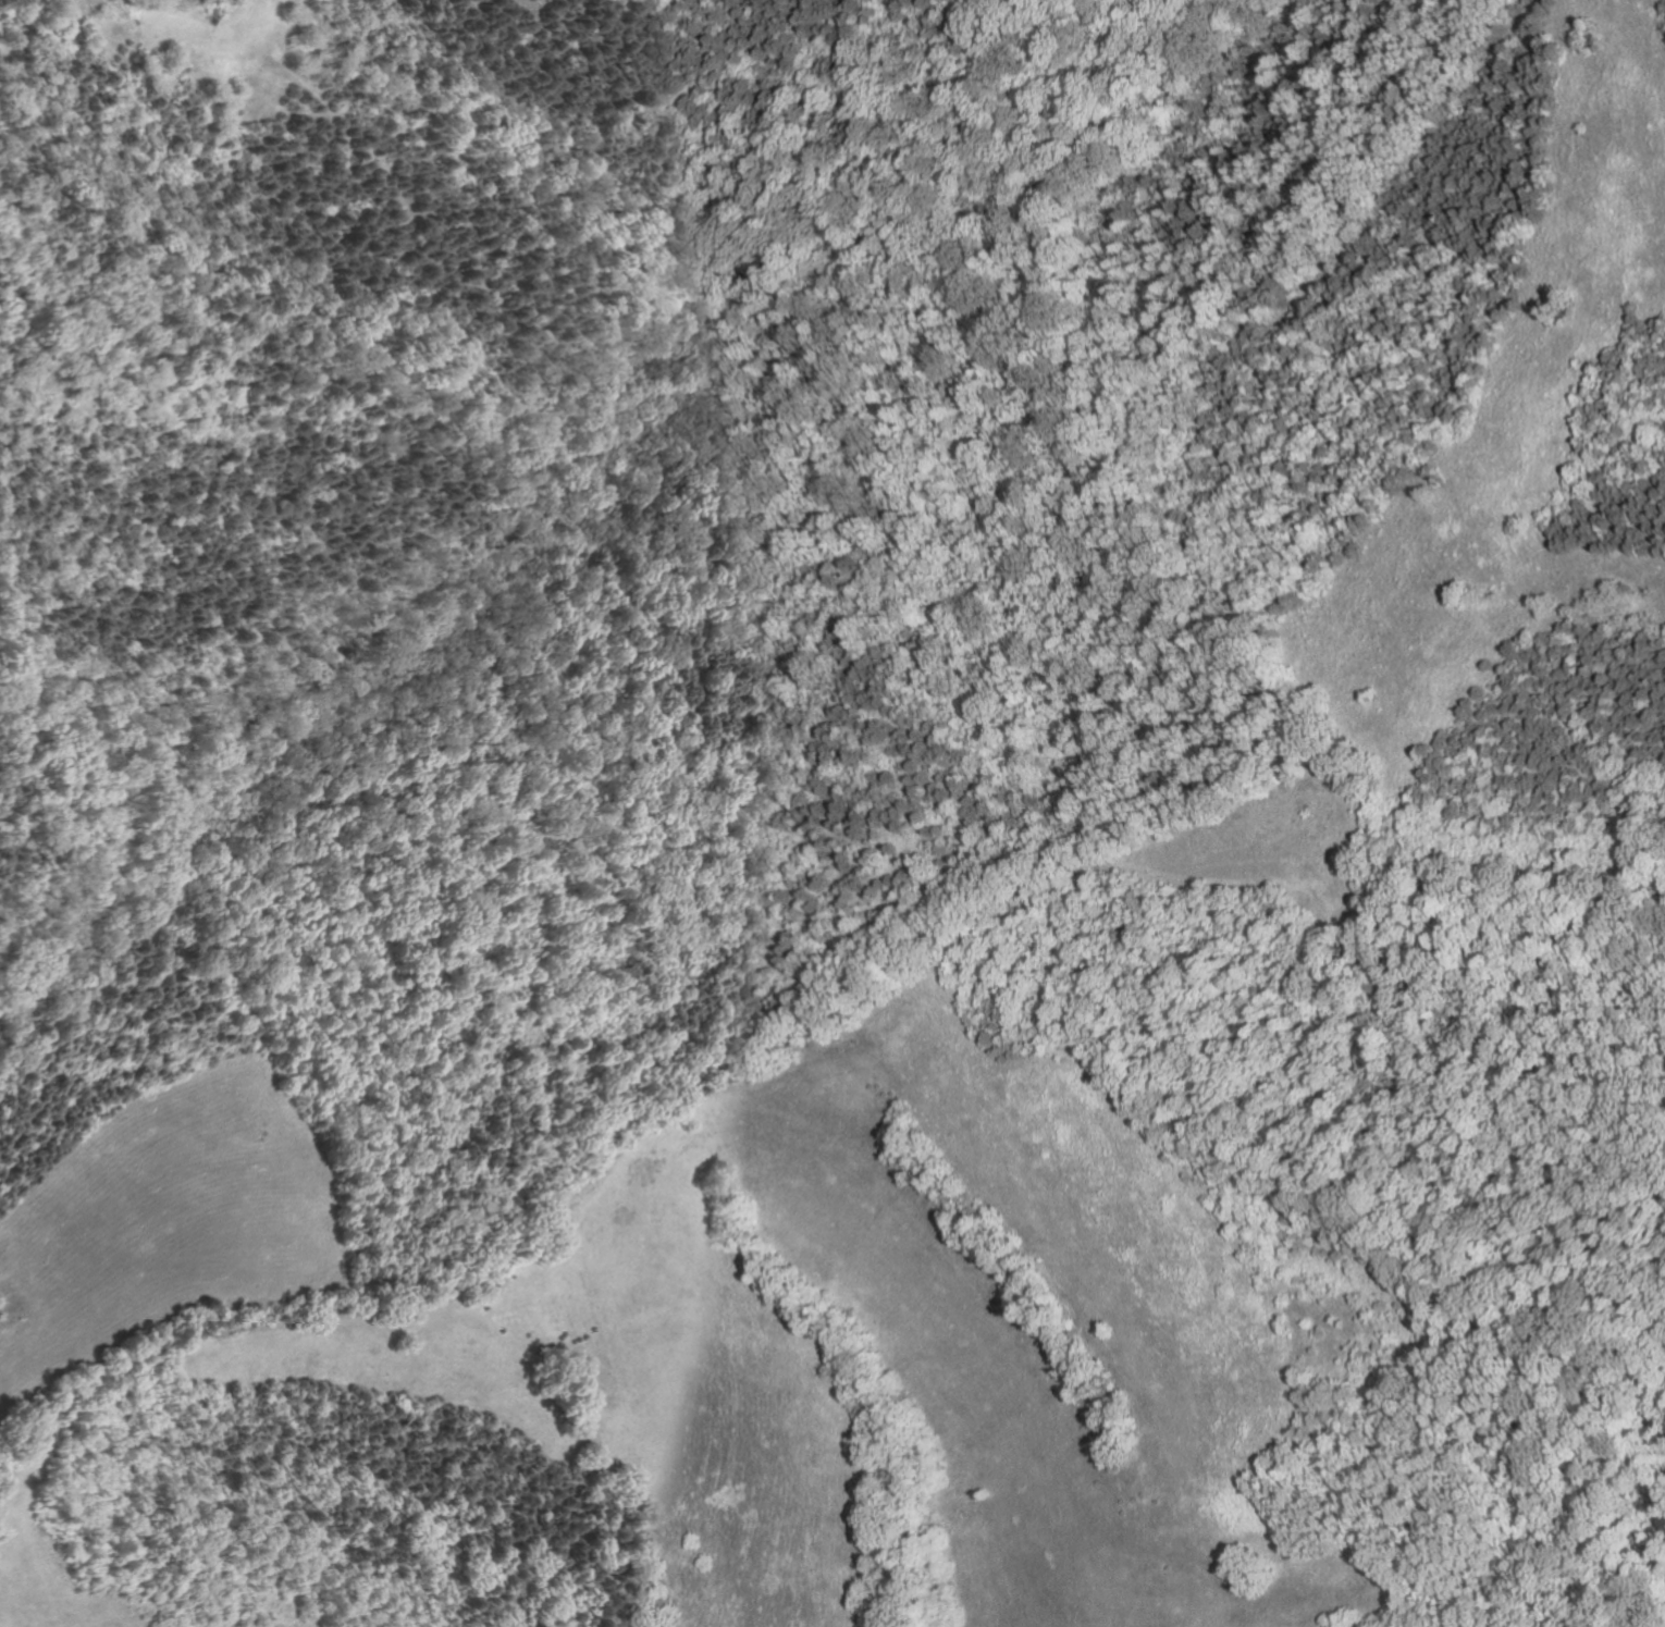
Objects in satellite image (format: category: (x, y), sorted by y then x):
building: (195, 0)

